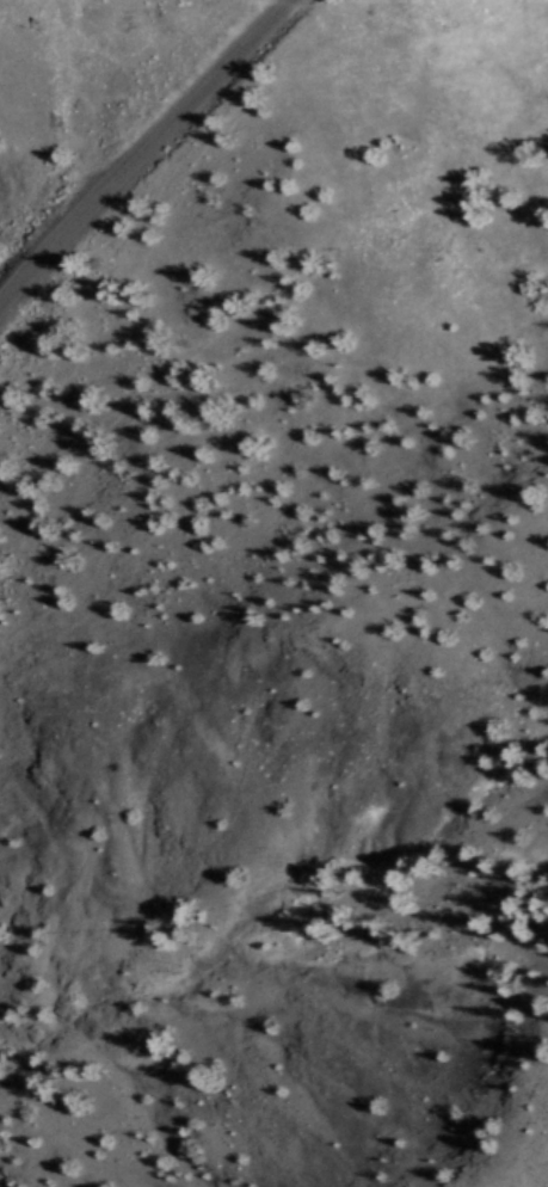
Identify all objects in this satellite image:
road: (97, 118)

